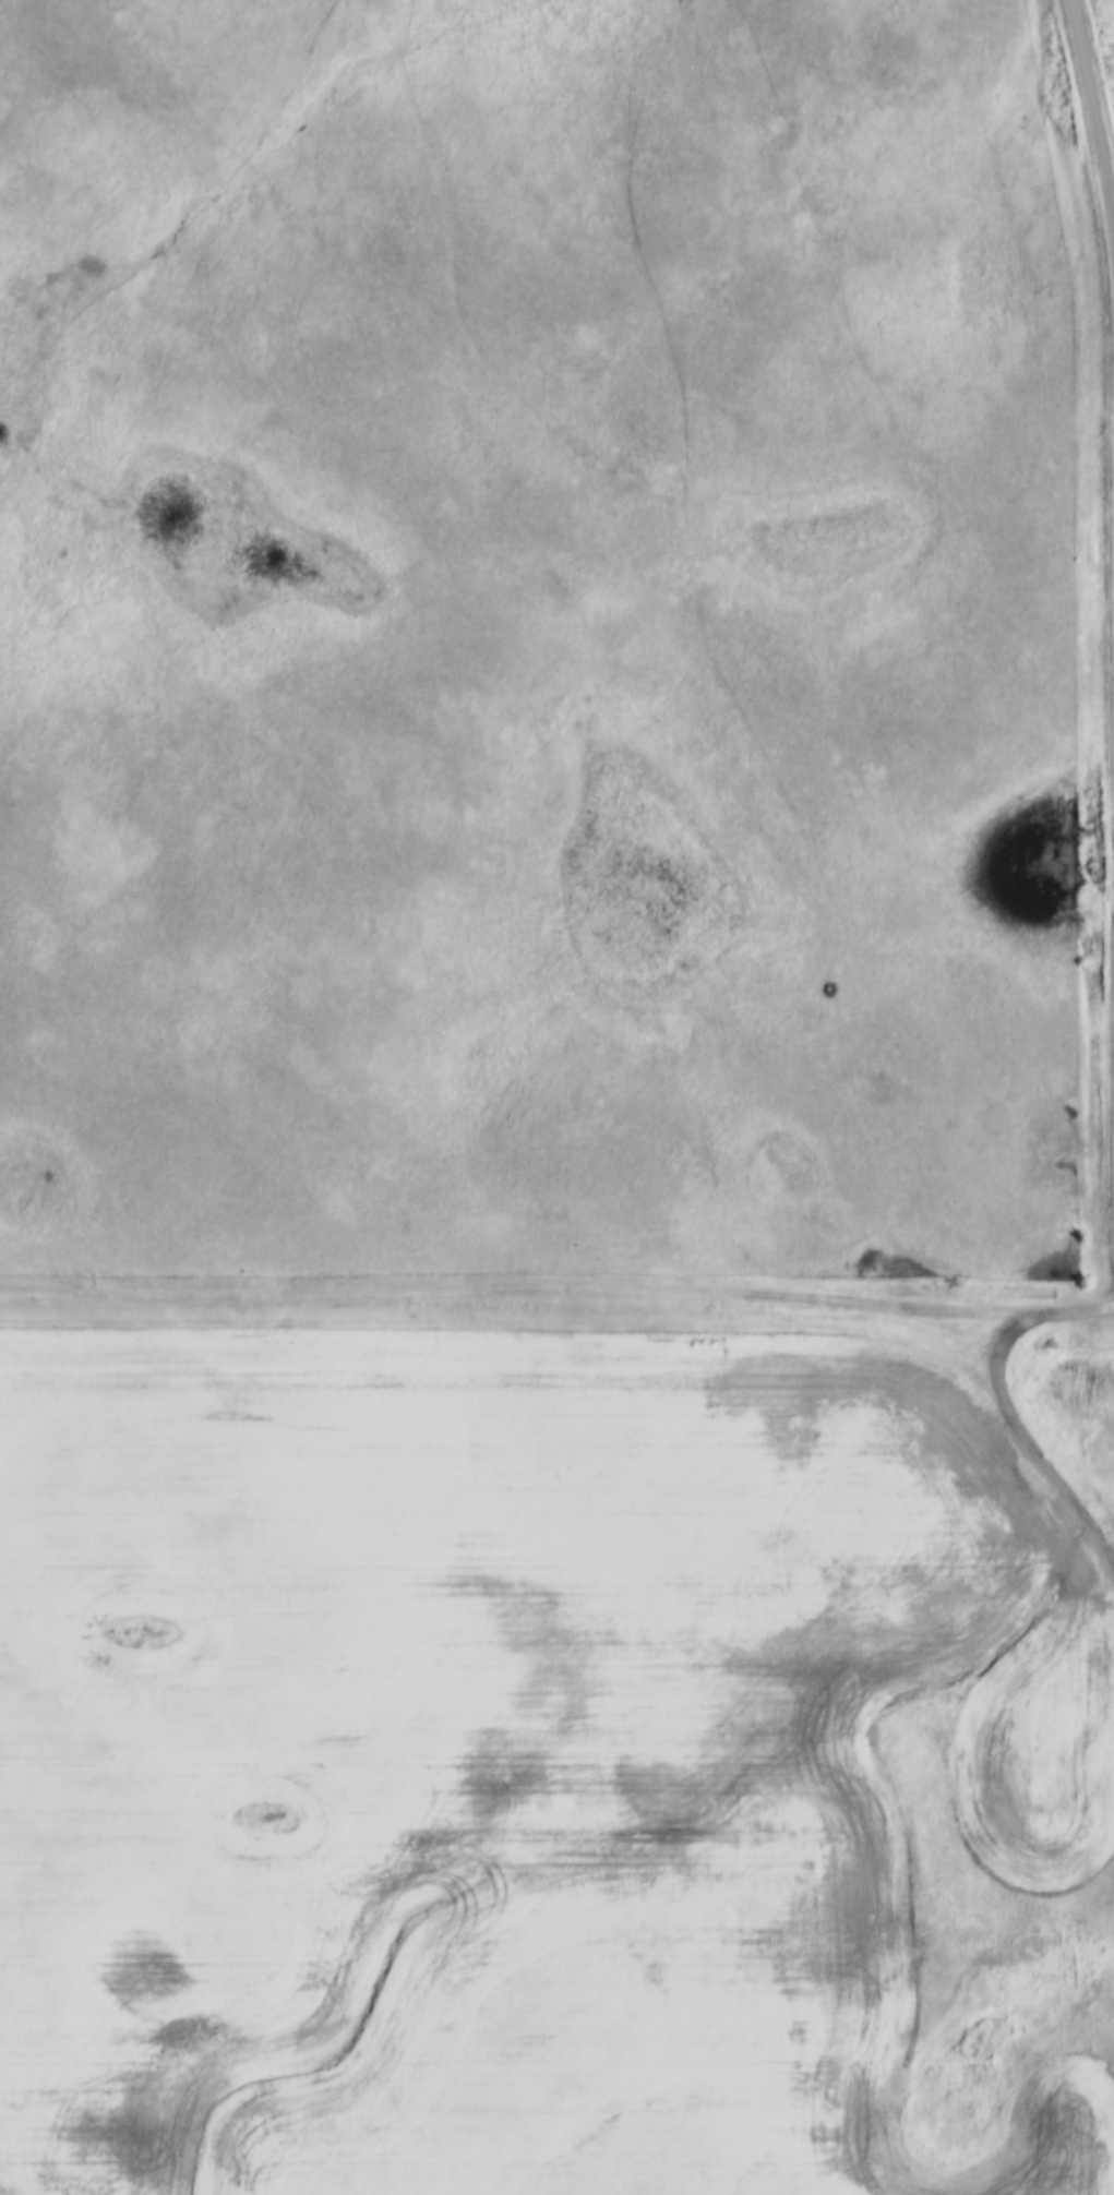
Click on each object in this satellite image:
road: (1098, 118)
road: (1011, 1403)

